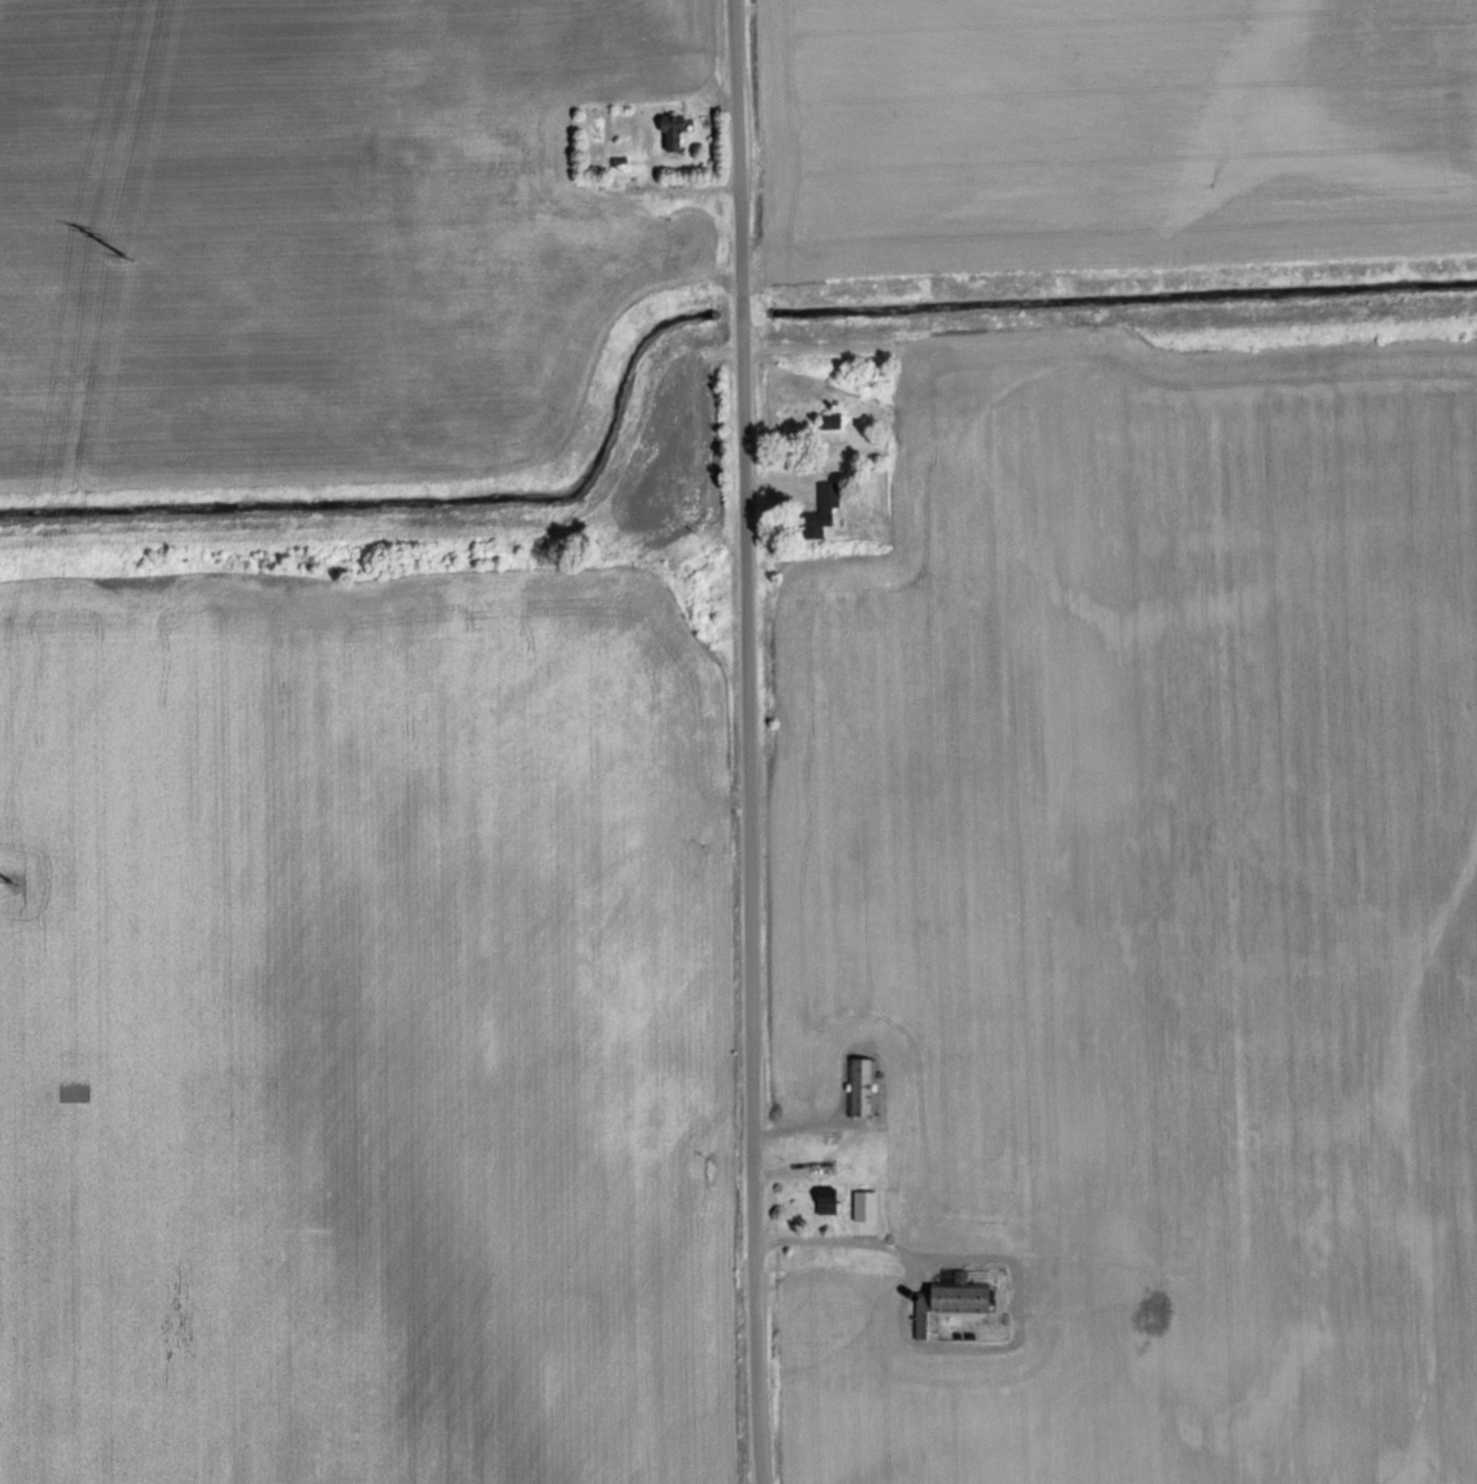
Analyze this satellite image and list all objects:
building: (668, 134)
power tower: (121, 249)
building: (827, 421)
building: (817, 512)
road: (746, 742)
power tower: (11, 876)
building: (862, 1086)
building: (824, 1200)
building: (947, 1302)

